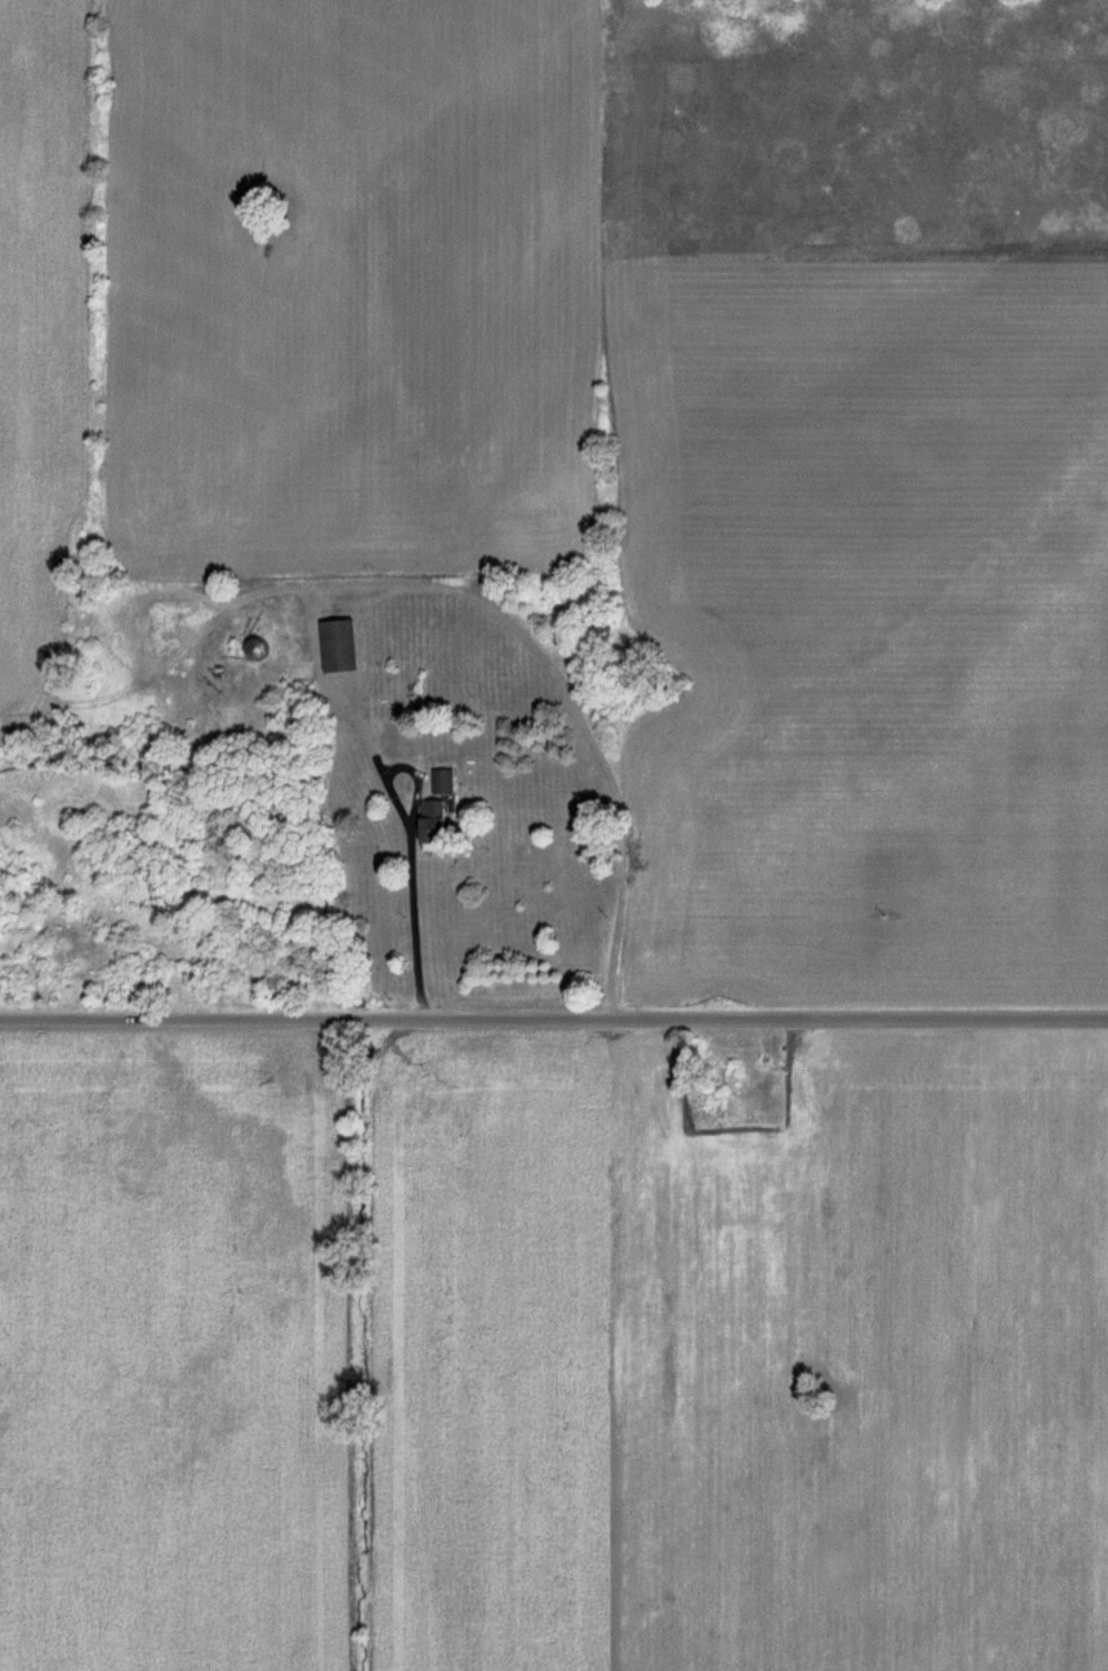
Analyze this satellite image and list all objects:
building: (341, 644)
building: (447, 779)
building: (437, 823)
road: (416, 910)
road: (553, 1021)

